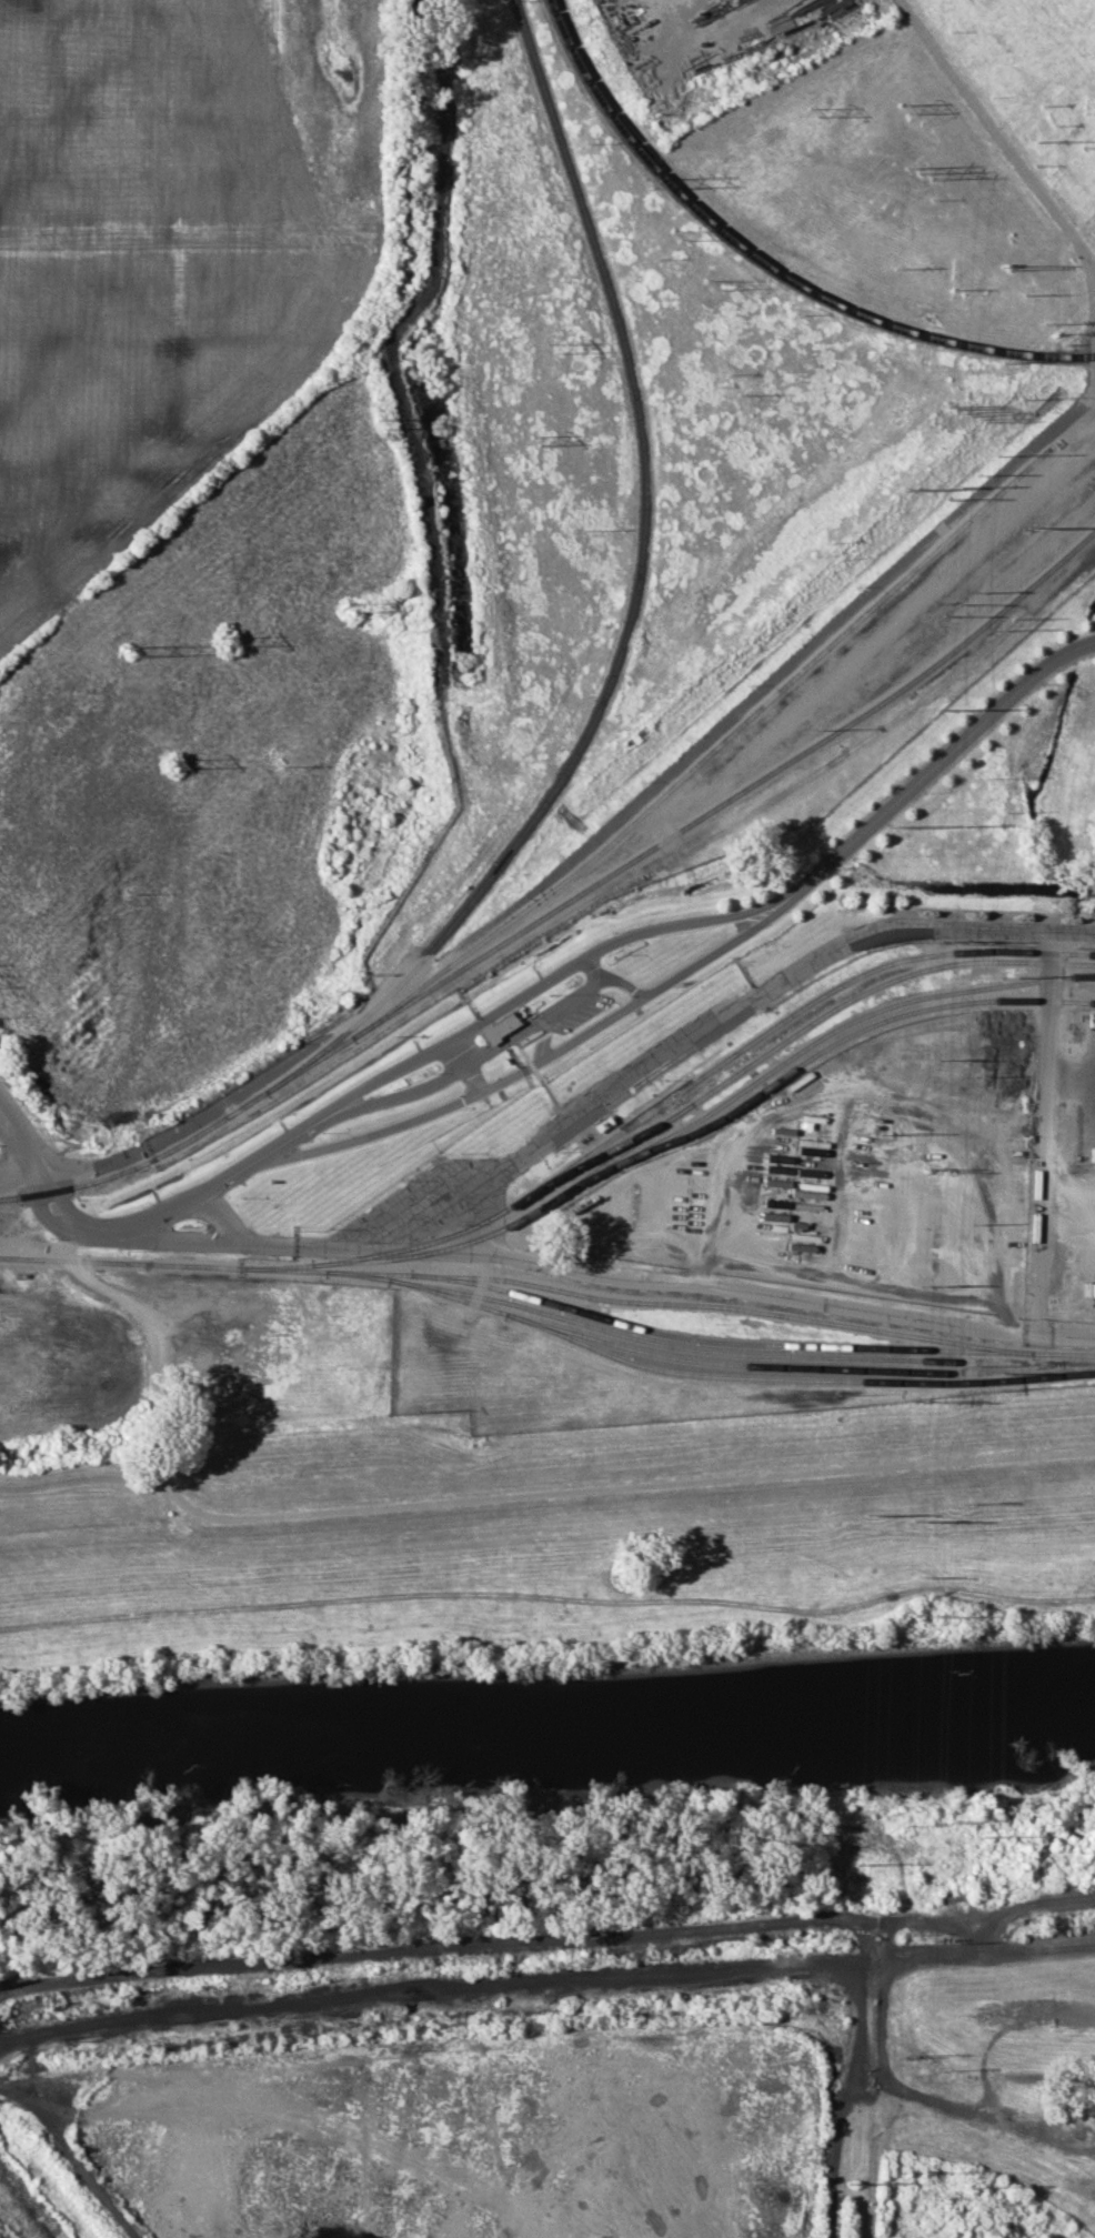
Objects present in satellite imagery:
power tower: (900, 104)
power tower: (810, 113)
road: (995, 137)
power tower: (1083, 139)
power tower: (915, 163)
power tower: (649, 184)
power tower: (672, 233)
railway: (765, 263)
power tower: (704, 280)
road: (1089, 300)
power tower: (546, 345)
road: (1093, 358)
power tower: (381, 424)
power tower: (532, 439)
power tower: (907, 486)
power tower: (1028, 524)
crop: (204, 533)
power tower: (346, 601)
railway: (632, 608)
power tower: (223, 642)
power tower: (128, 653)
railway: (713, 750)
power tower: (172, 760)
road: (908, 785)
power tower: (894, 824)
railway: (686, 825)
road: (584, 846)
power tower: (1003, 976)
road: (513, 1000)
railway: (794, 1014)
building: (498, 1026)
road: (524, 1026)
road: (1046, 1067)
railway: (705, 1097)
road: (567, 1122)
power tower: (884, 1133)
road: (21, 1146)
railway: (135, 1166)
road: (225, 1173)
road: (1088, 1190)
road: (1081, 1213)
road: (722, 1224)
railway: (274, 1268)
road: (723, 1285)
railway: (725, 1308)
railway: (676, 1336)
railway: (644, 1342)
railway: (669, 1356)
crop: (61, 1358)
road: (155, 1365)
railway: (796, 1377)
power tower: (994, 1394)
road: (546, 1495)
power tower: (872, 1509)
river: (546, 1716)
power tower: (982, 1833)
power tower: (862, 1863)
road: (1036, 1907)
road: (942, 1924)
road: (600, 1936)
road: (730, 1971)
road: (183, 2031)
crop: (998, 2074)
road: (72, 2154)
power tower: (852, 2181)

